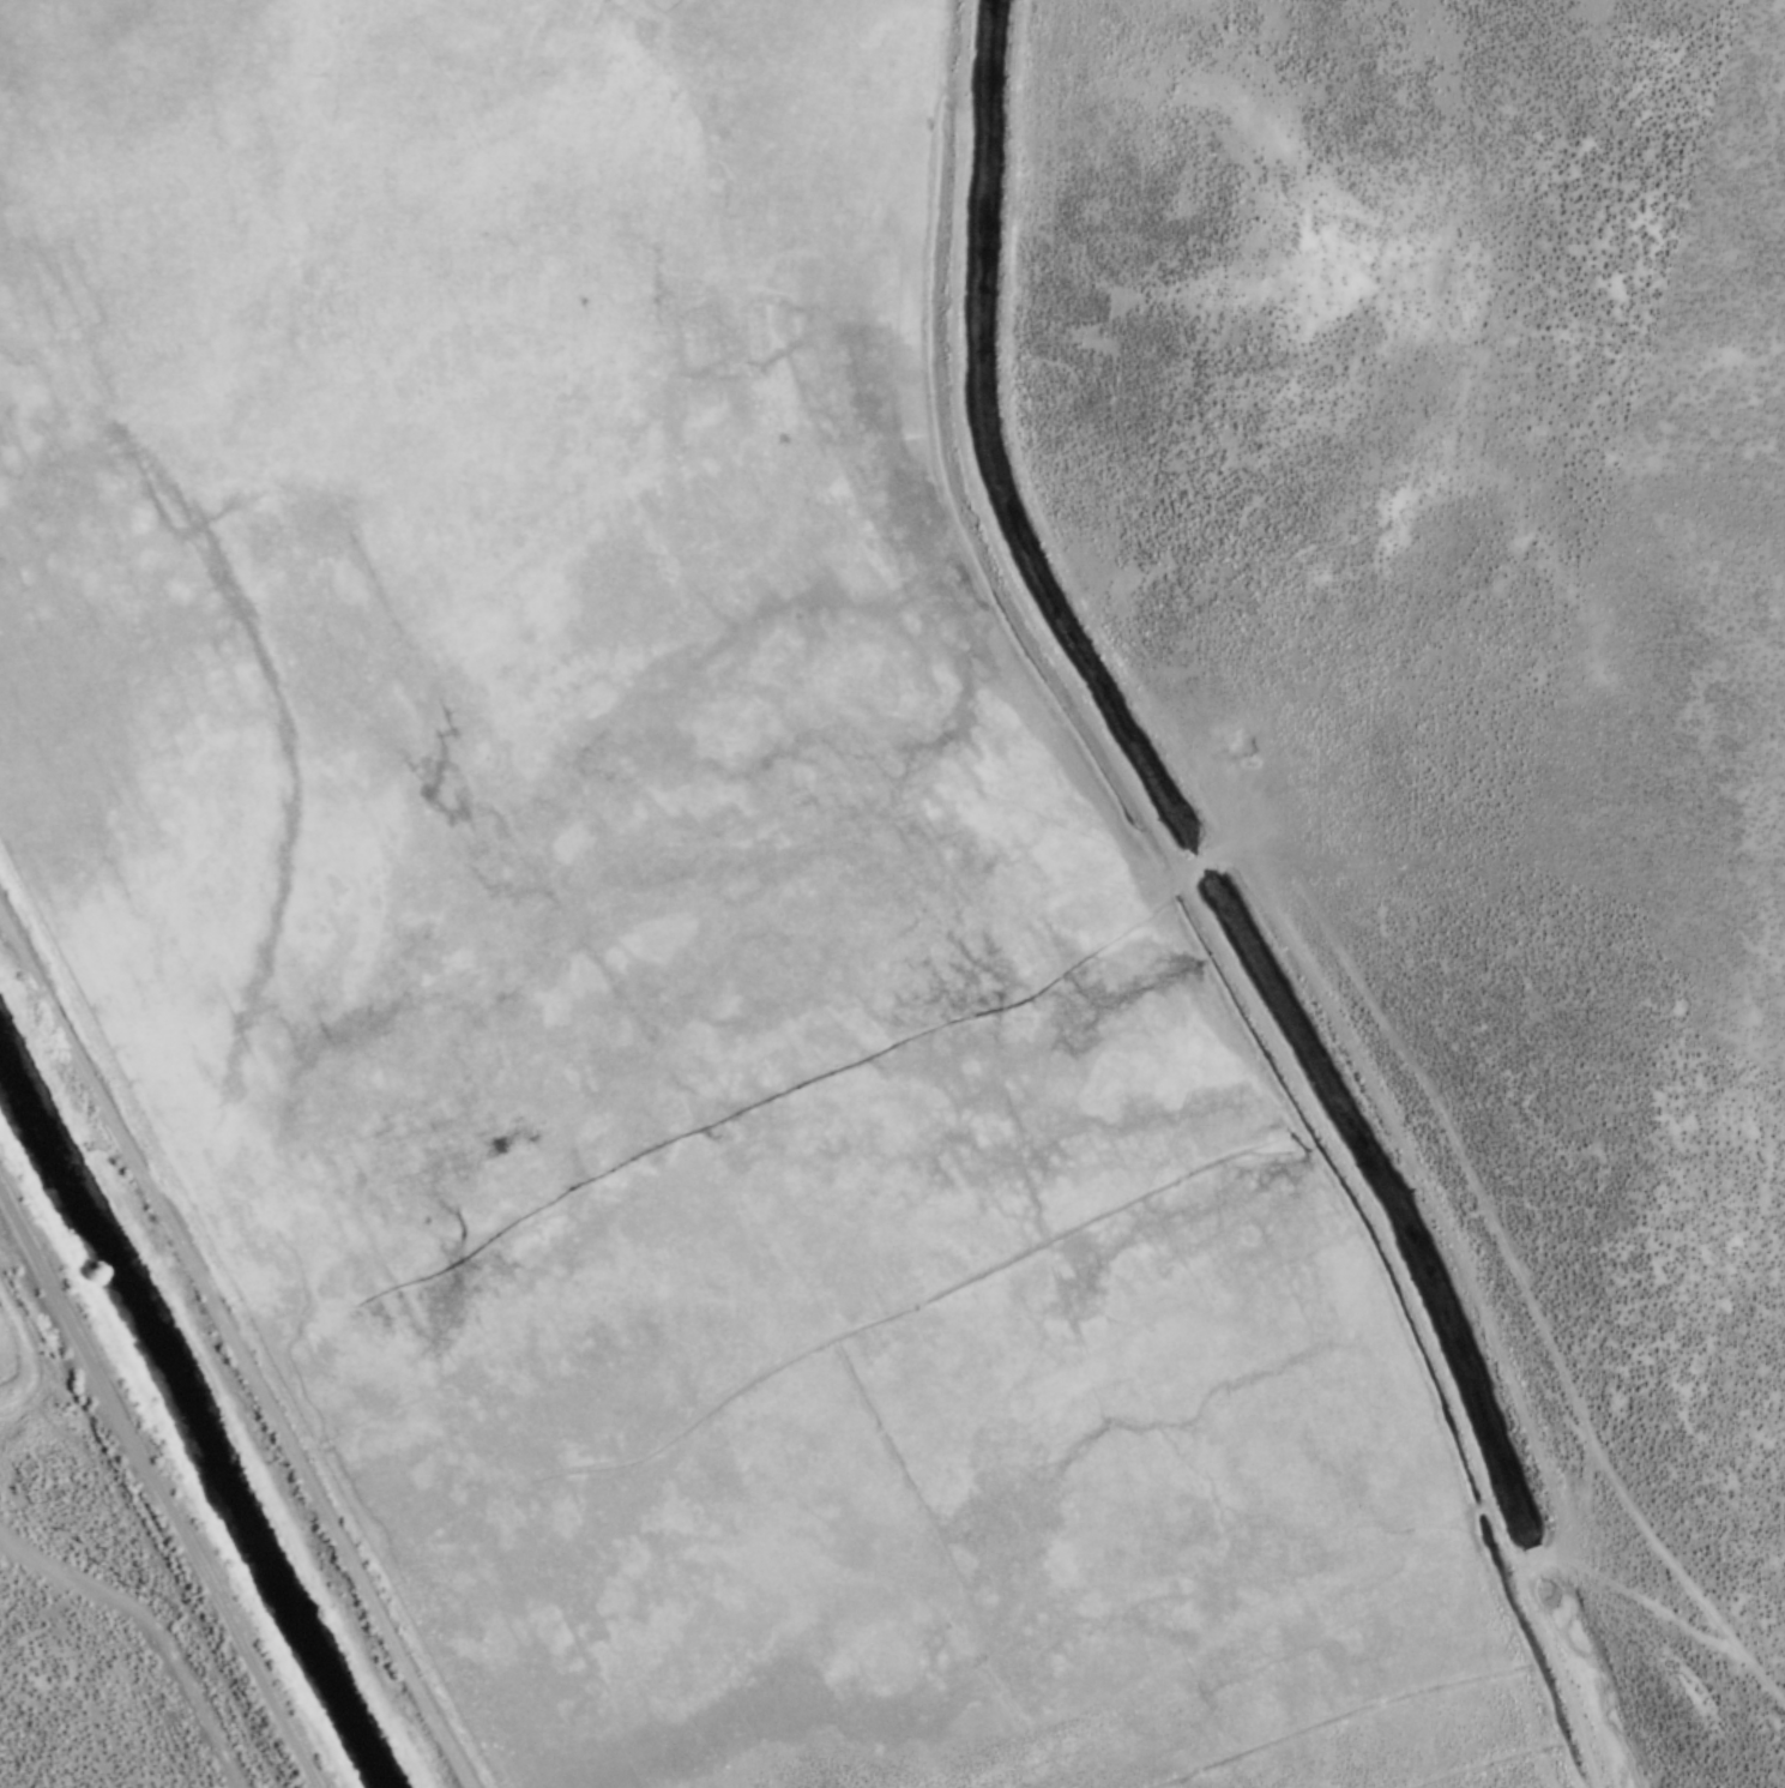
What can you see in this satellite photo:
river: (192, 1426)
road: (137, 1530)

